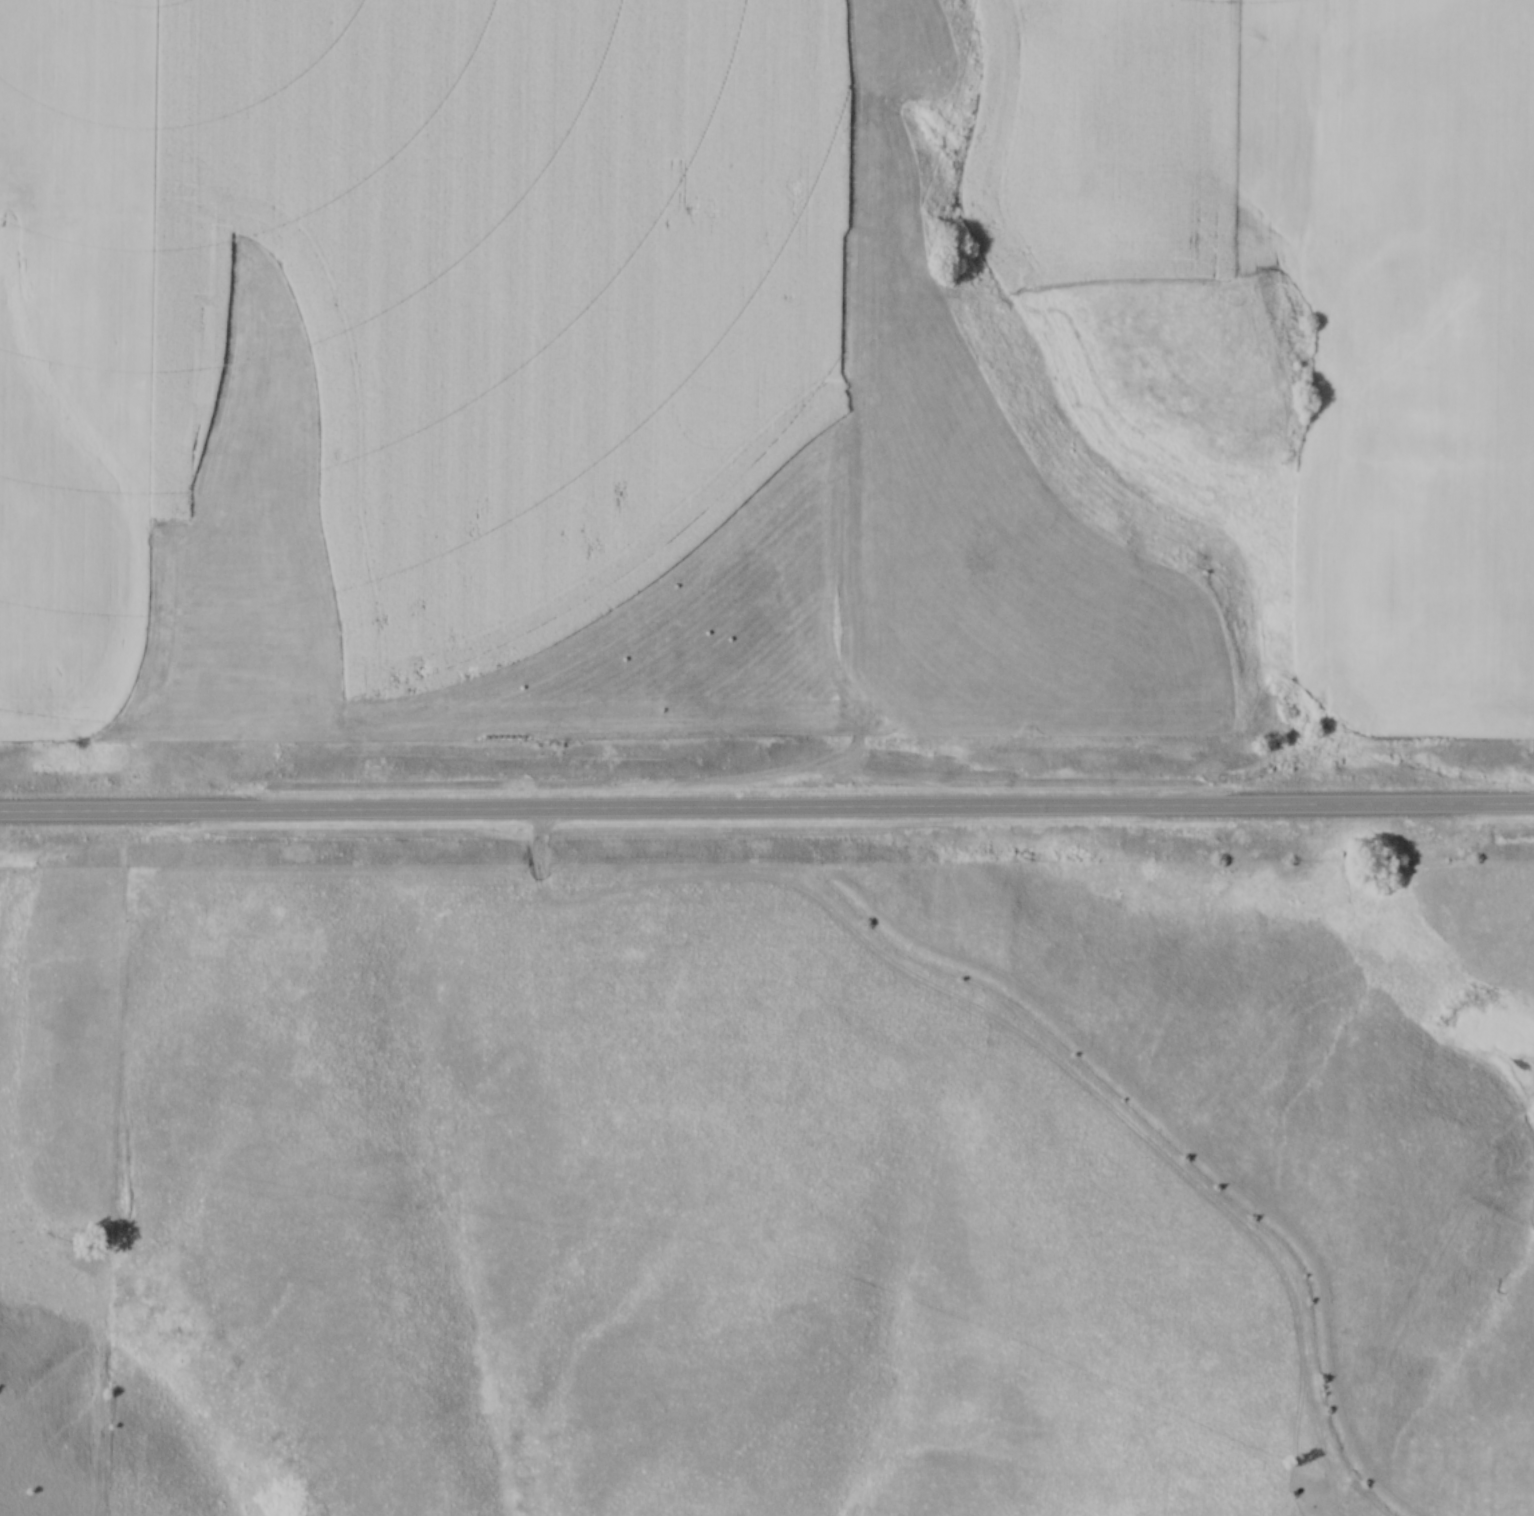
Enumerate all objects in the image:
road: (766, 812)

